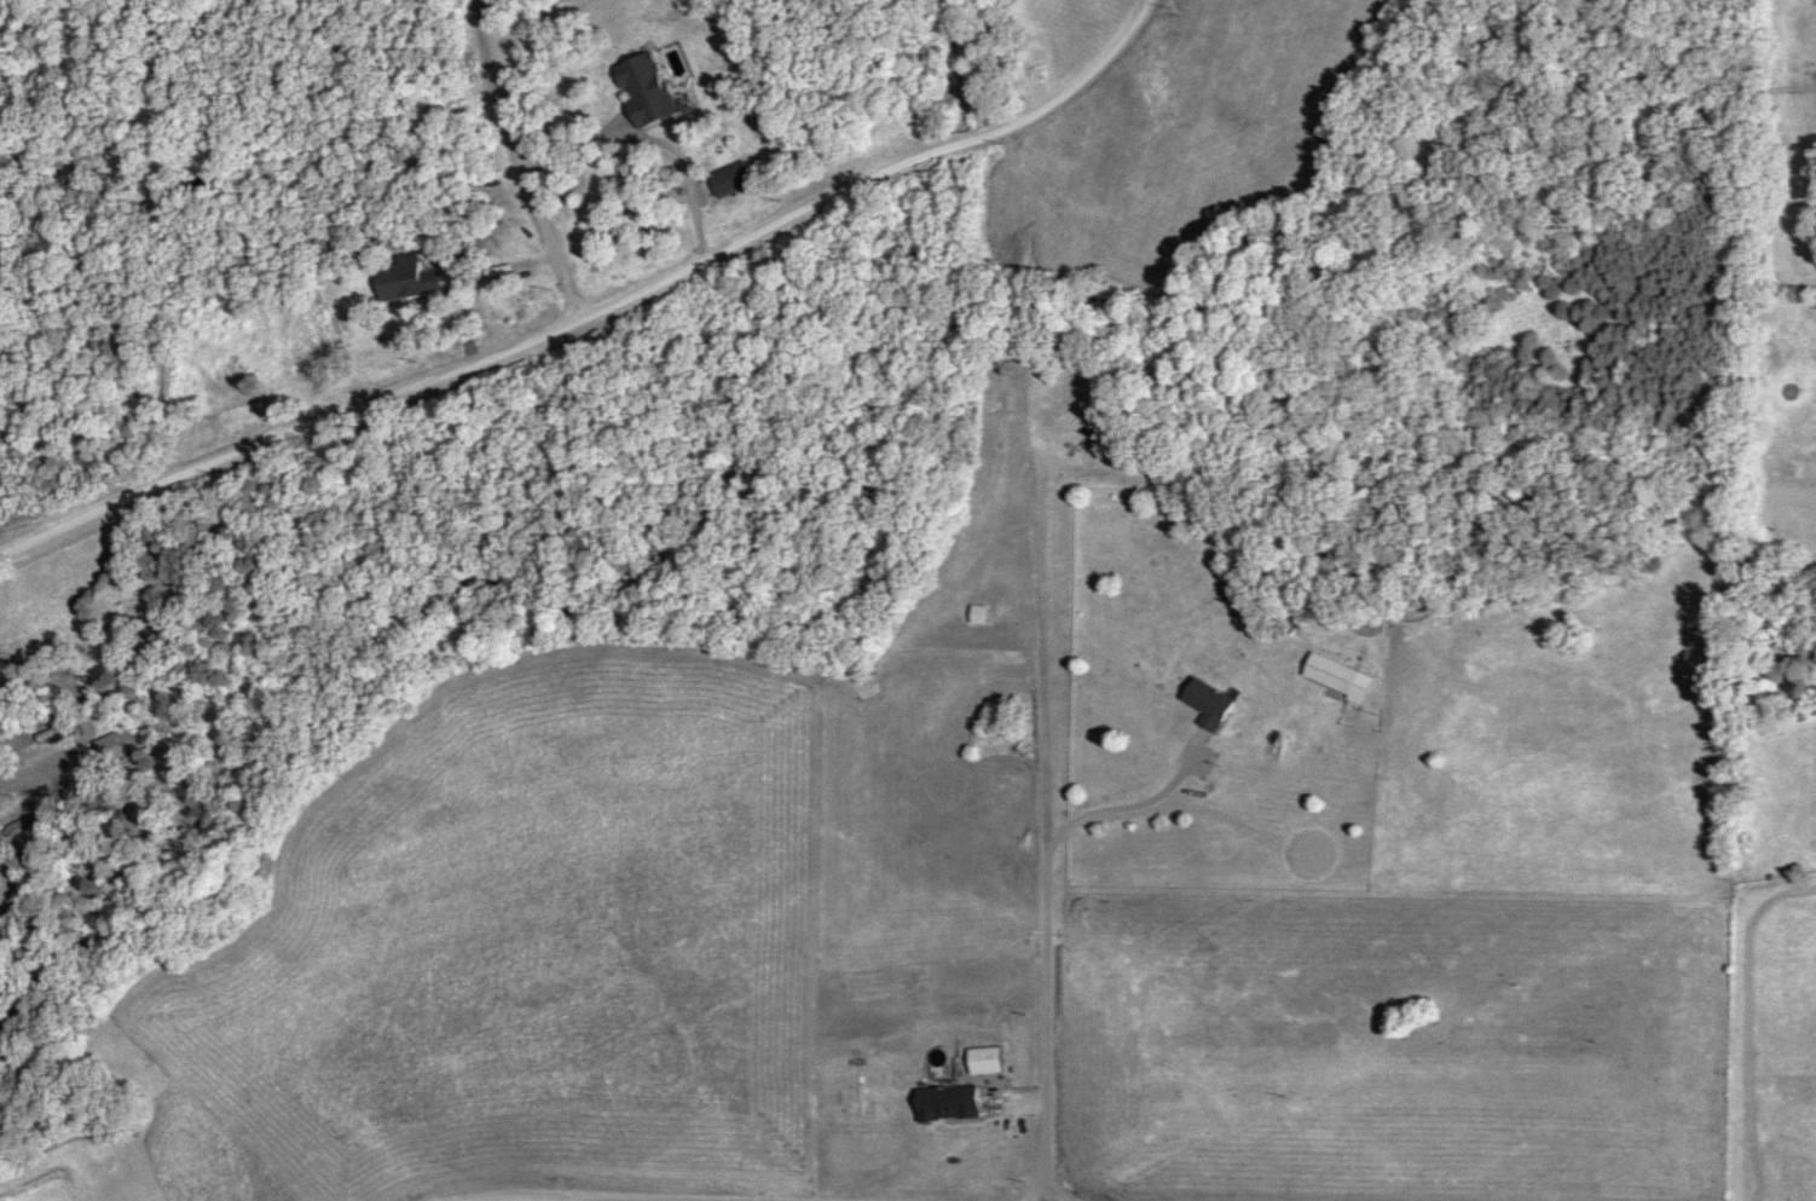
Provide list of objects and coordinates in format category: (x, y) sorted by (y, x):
building: (649, 87)
building: (734, 177)
building: (418, 272)
road: (595, 305)
building: (979, 612)
building: (1338, 675)
building: (1210, 701)
road: (1051, 931)
building: (988, 1058)
building: (949, 1101)

